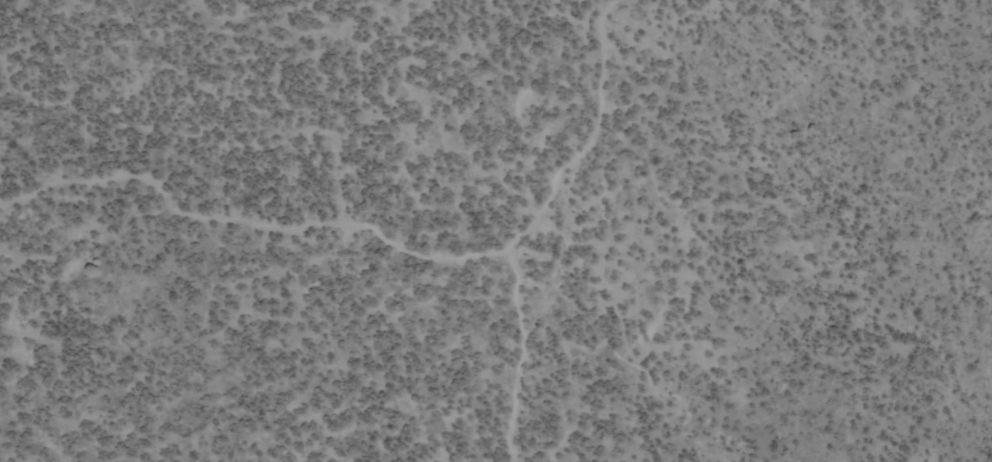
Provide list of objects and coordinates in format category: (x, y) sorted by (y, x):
road: (598, 229)

